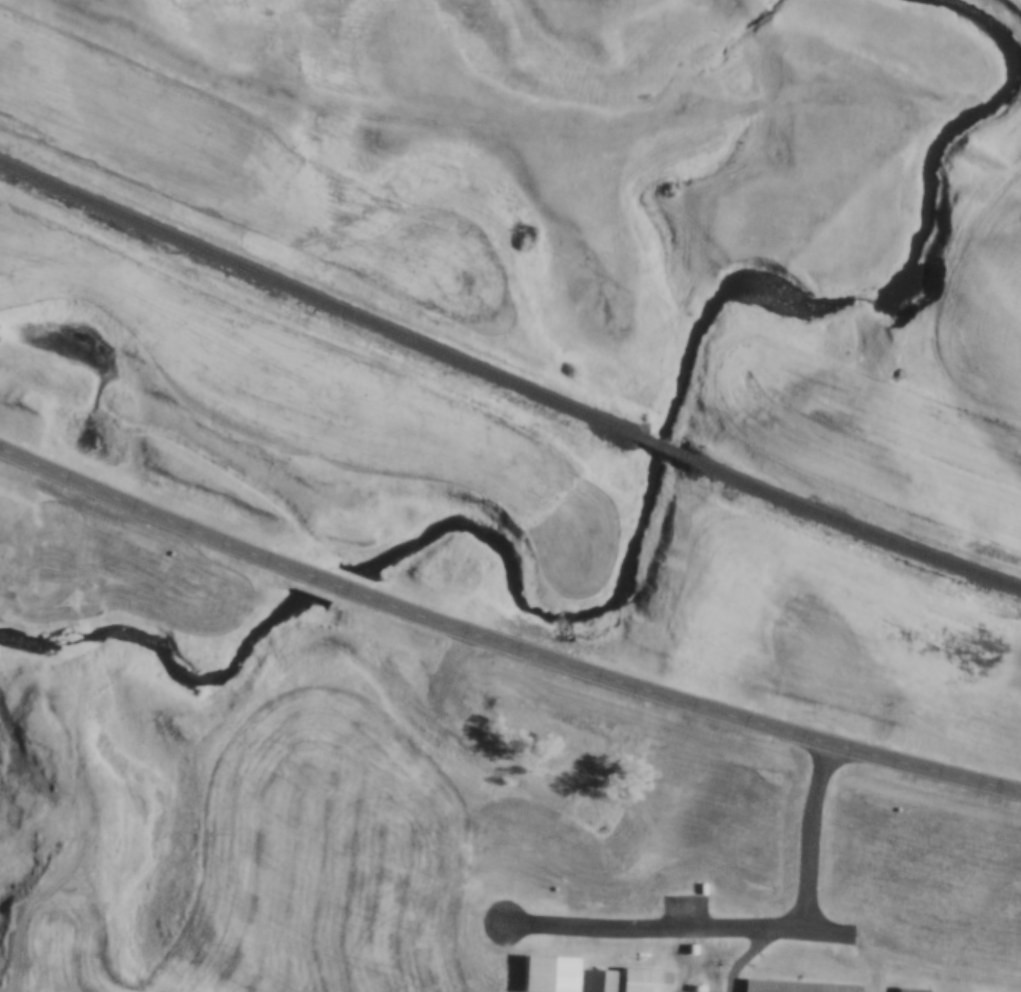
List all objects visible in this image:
railway: (508, 384)
road: (502, 647)
road: (806, 851)
crop: (280, 870)
road: (758, 947)
building: (543, 972)
road: (922, 972)
building: (637, 980)
building: (597, 983)
building: (792, 987)
building: (902, 991)

